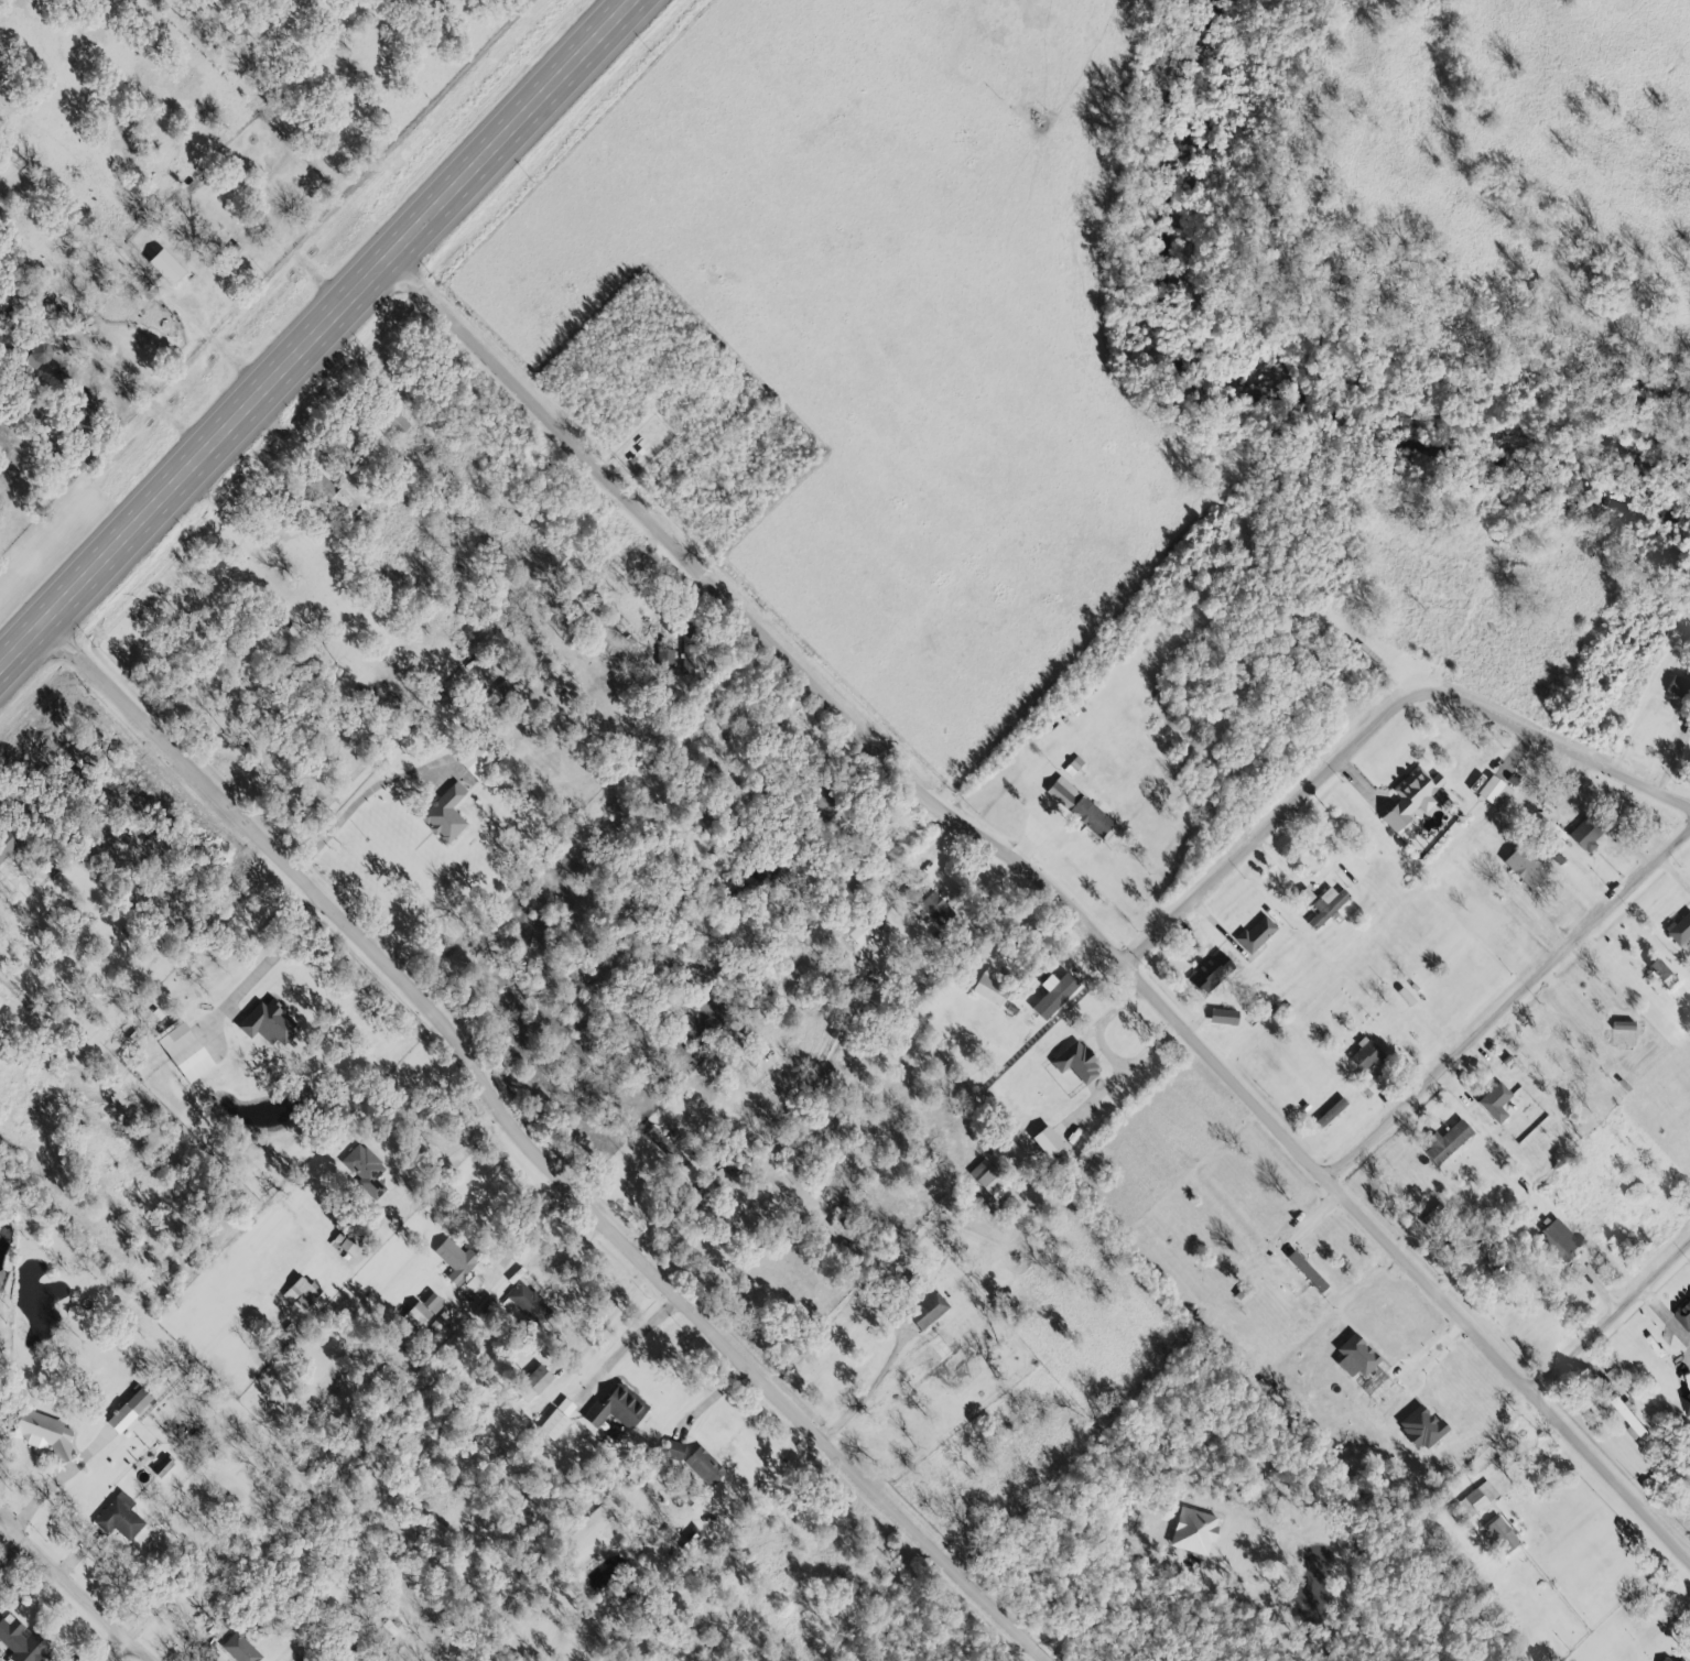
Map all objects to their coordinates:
building: (167, 267)
road: (321, 334)
building: (40, 357)
building: (85, 420)
building: (338, 497)
road: (653, 522)
building: (690, 649)
building: (667, 656)
building: (1678, 685)
road: (1377, 727)
building: (476, 760)
building: (1496, 791)
building: (1413, 796)
building: (832, 802)
building: (1081, 806)
road: (350, 811)
building: (446, 814)
building: (1588, 832)
building: (7, 844)
building: (1526, 868)
building: (1328, 908)
building: (935, 910)
building: (1680, 930)
building: (858, 932)
building: (1257, 934)
building: (1660, 970)
building: (1212, 971)
building: (992, 987)
building: (1057, 996)
road: (1509, 1009)
building: (1225, 1016)
building: (270, 1023)
building: (187, 1052)
building: (1366, 1054)
building: (1077, 1062)
building: (1496, 1101)
building: (1049, 1141)
building: (1449, 1141)
building: (667, 1147)
road: (532, 1149)
road: (1311, 1165)
building: (365, 1169)
park: (2, 1179)
building: (993, 1181)
building: (849, 1233)
building: (1559, 1239)
building: (346, 1244)
building: (457, 1260)
building: (1309, 1272)
building: (302, 1292)
building: (528, 1302)
building: (930, 1310)
building: (423, 1311)
building: (1684, 1316)
building: (440, 1322)
road: (1612, 1324)
building: (1357, 1356)
building: (534, 1383)
road: (868, 1391)
building: (1687, 1403)
building: (618, 1408)
building: (130, 1410)
building: (559, 1418)
building: (1423, 1427)
building: (46, 1433)
building: (673, 1451)
road: (1510, 1453)
building: (163, 1466)
building: (705, 1466)
road: (3, 1481)
building: (1478, 1498)
building: (120, 1517)
road: (4, 1527)
building: (1195, 1531)
building: (692, 1534)
building: (1501, 1535)
road: (1116, 1615)
building: (22, 1640)
building: (240, 1649)
road: (118, 1653)
building: (1670, 1660)
building: (1683, 1660)

